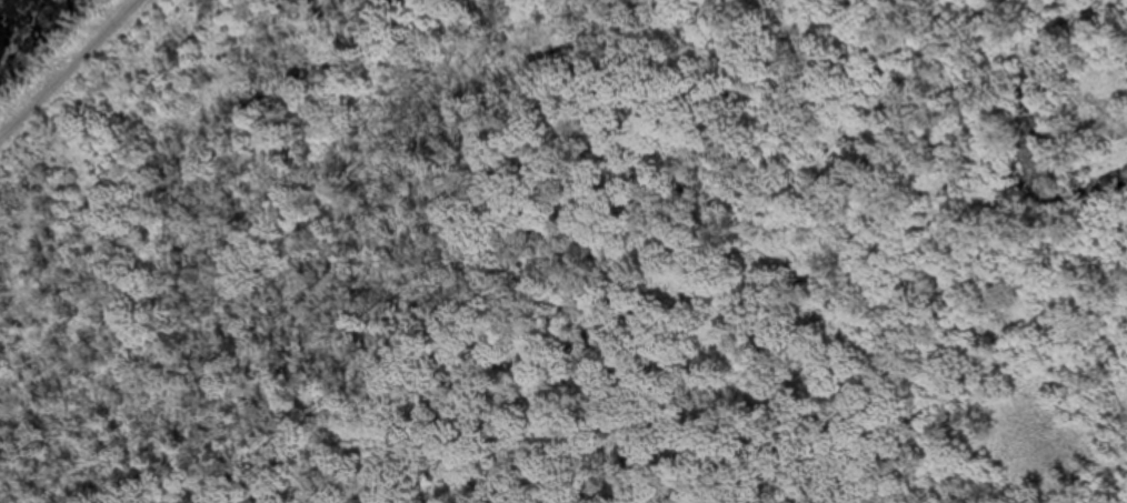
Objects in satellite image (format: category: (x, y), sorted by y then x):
road: (70, 71)

